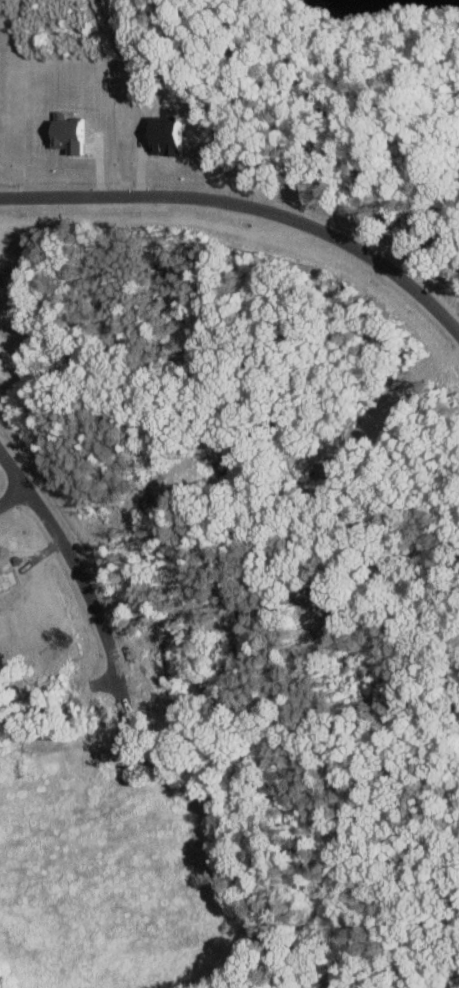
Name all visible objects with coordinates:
road: (250, 203)
road: (11, 495)
road: (72, 564)

